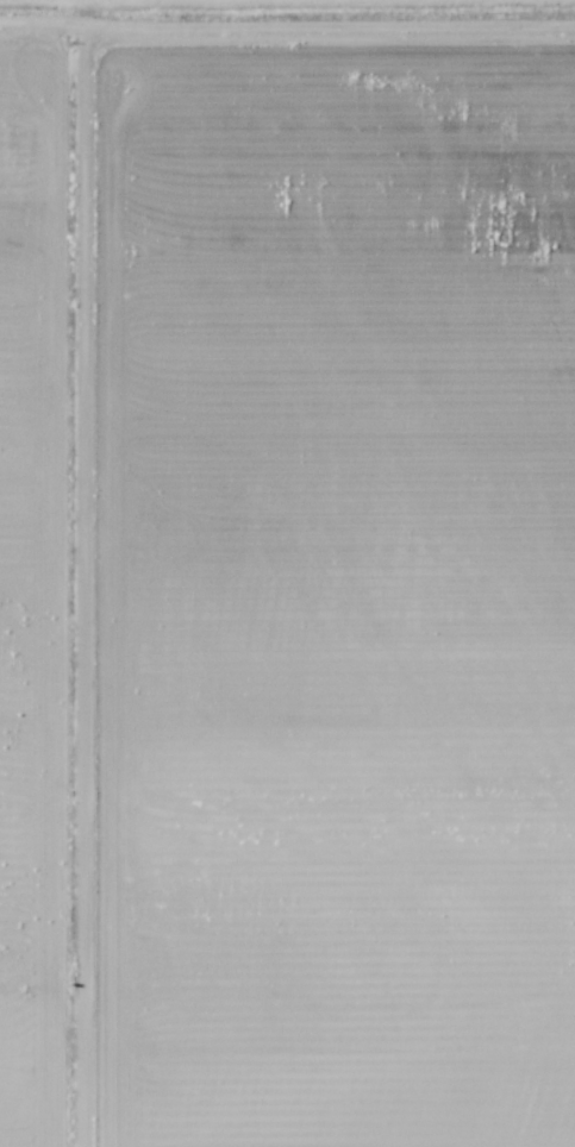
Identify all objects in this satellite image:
crop: (287, 579)

